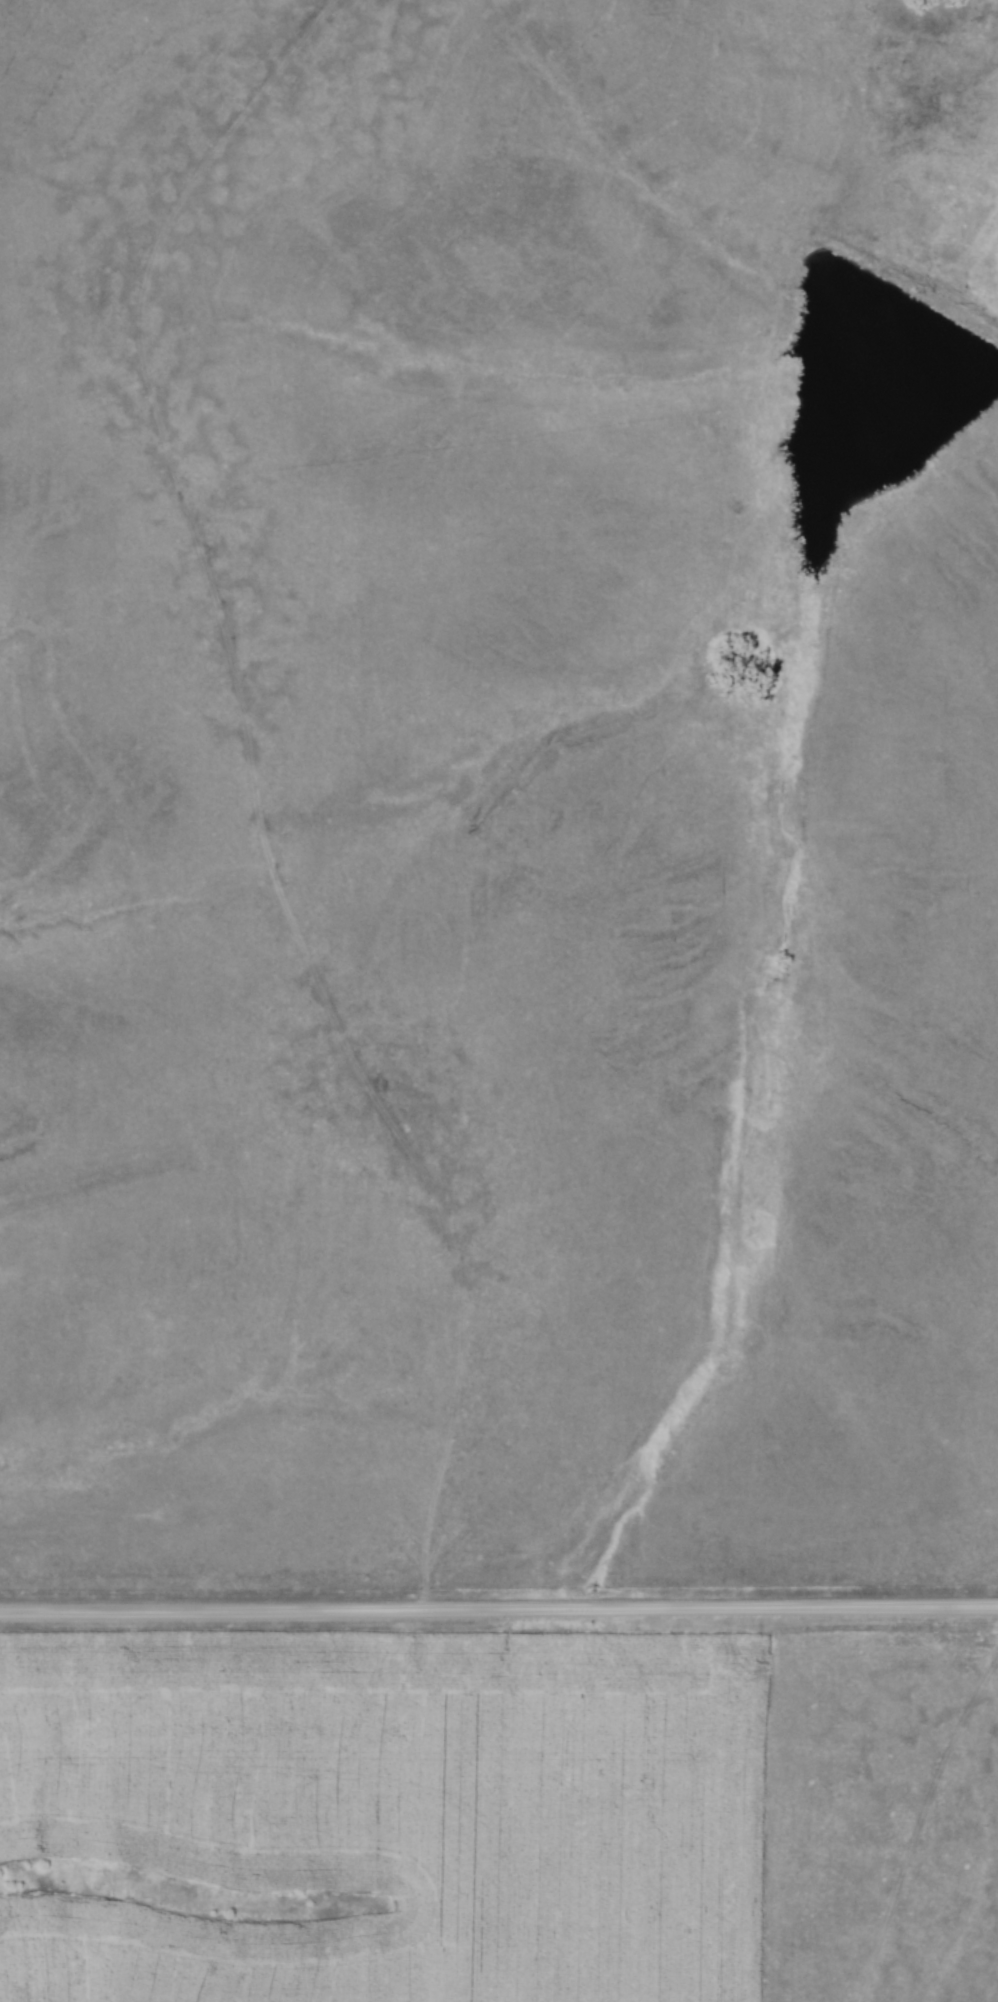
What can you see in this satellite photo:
road: (499, 1612)

